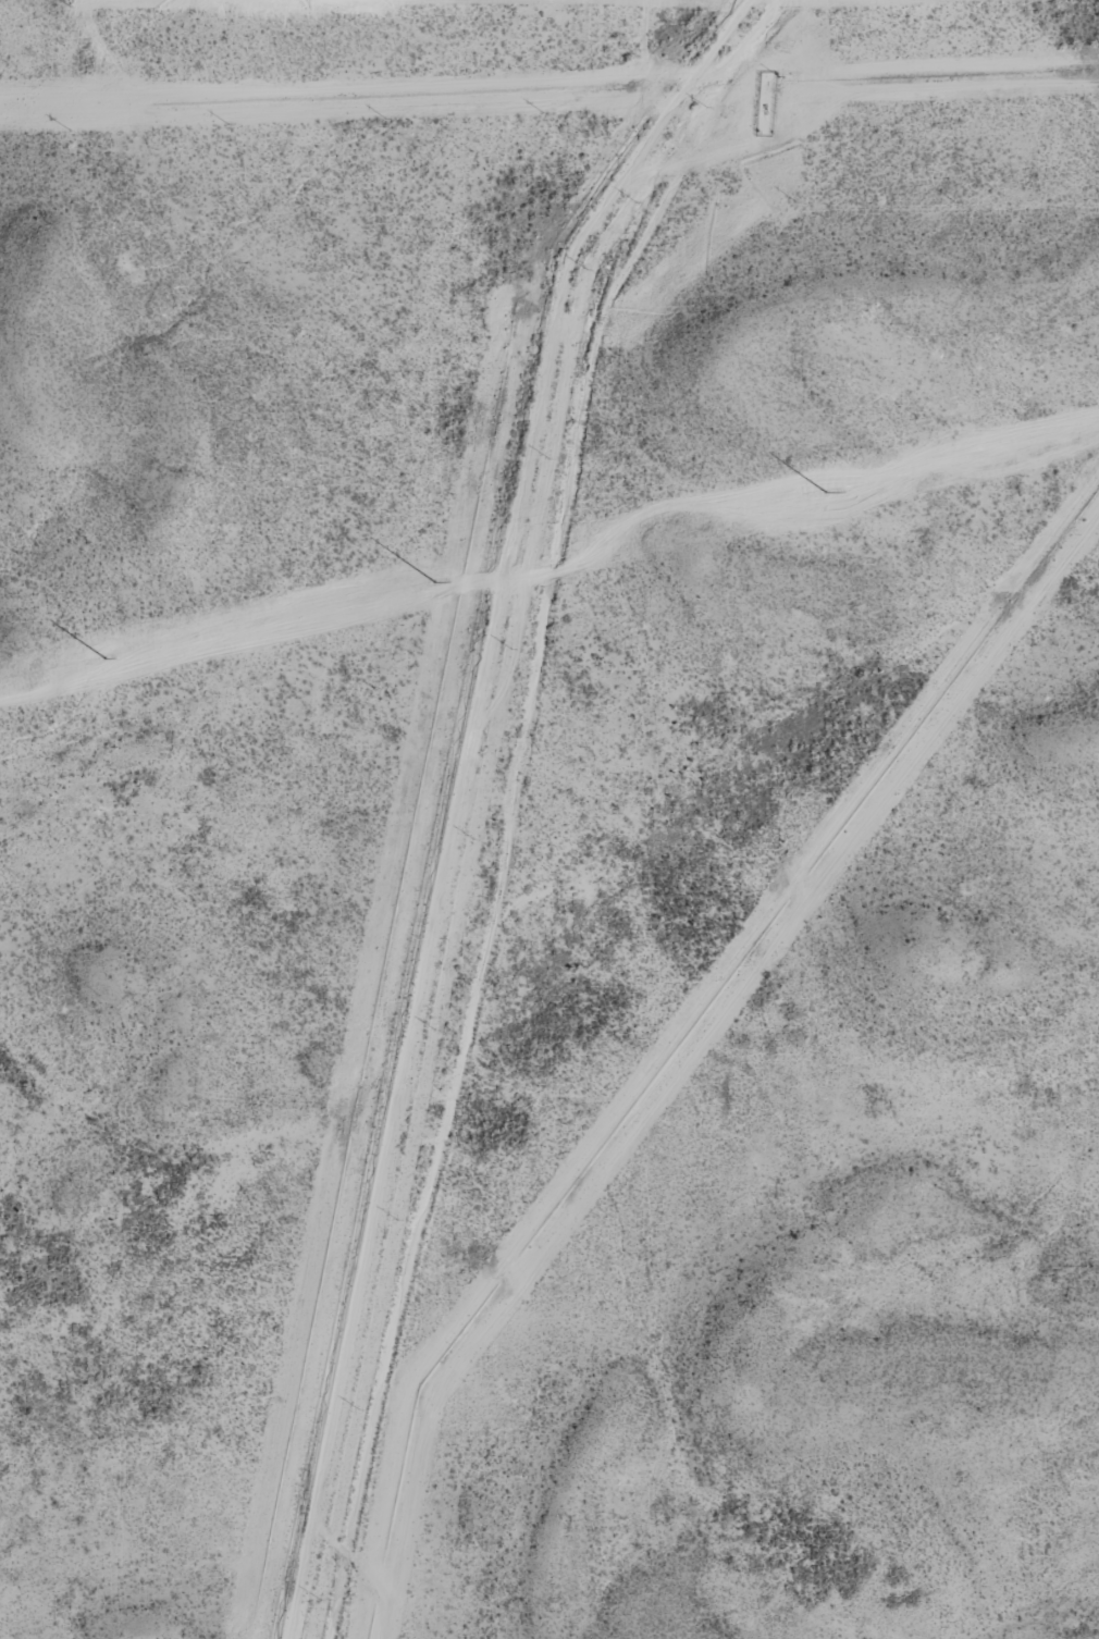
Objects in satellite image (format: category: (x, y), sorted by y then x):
power tower: (827, 495)
power tower: (435, 584)
power tower: (108, 660)
road: (492, 793)

